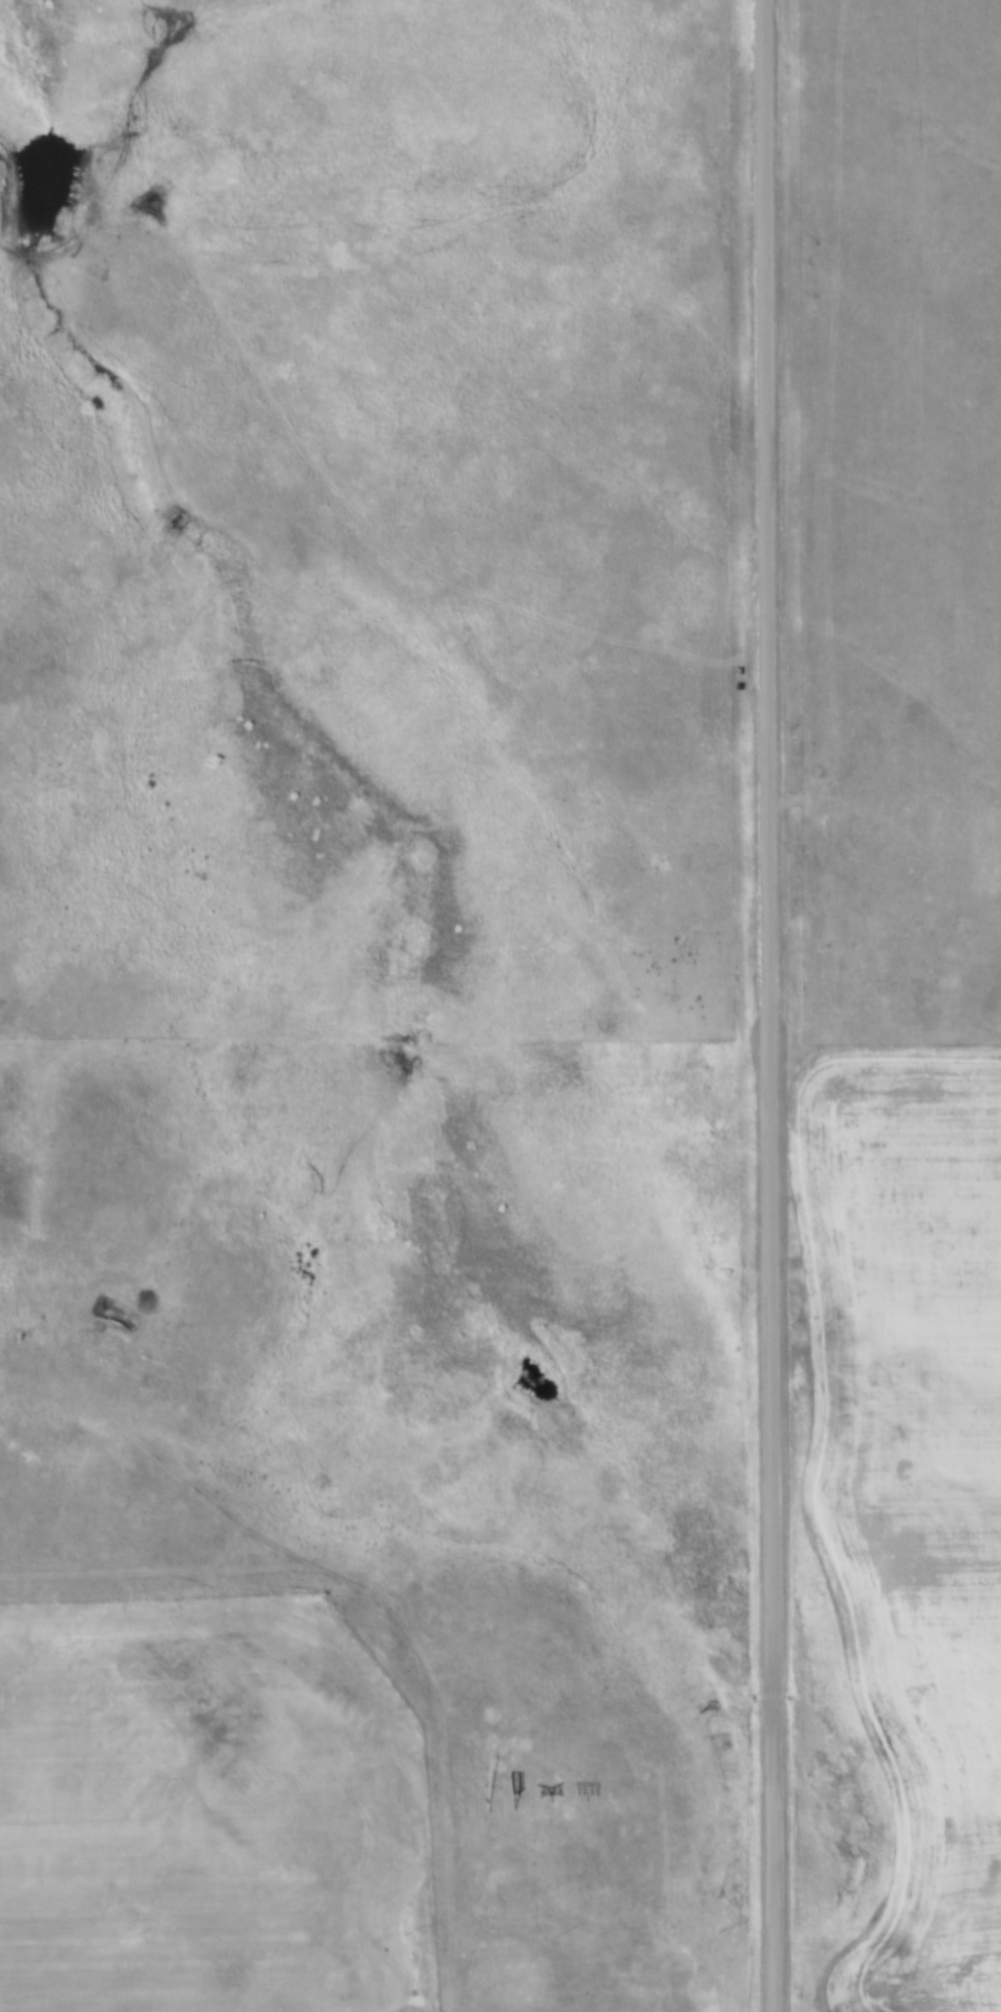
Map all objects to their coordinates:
road: (769, 1006)

